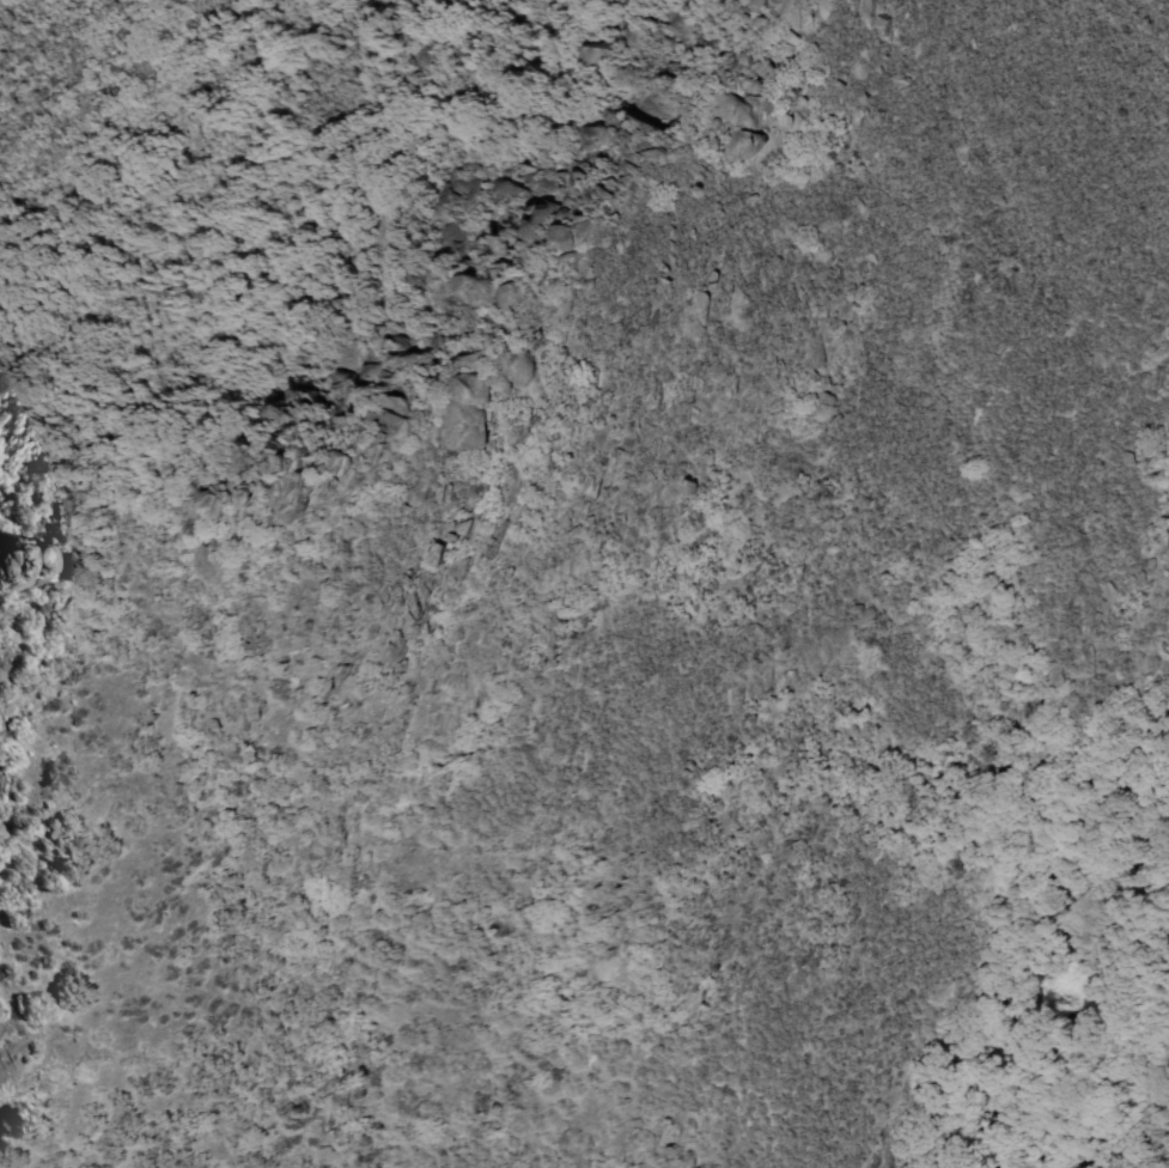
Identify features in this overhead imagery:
building: (24, 565)

